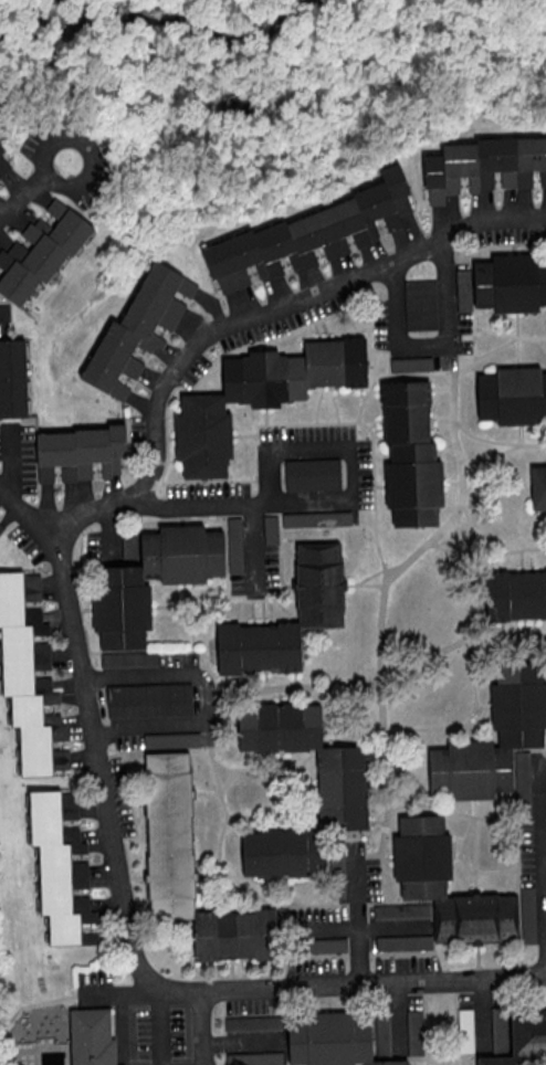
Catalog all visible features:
river: (165, 17)
building: (6, 161)
building: (484, 167)
road: (46, 175)
building: (312, 235)
building: (39, 252)
building: (510, 284)
road: (239, 319)
building: (139, 330)
road: (432, 347)
building: (13, 379)
building: (513, 396)
building: (261, 397)
building: (81, 454)
building: (411, 455)
building: (313, 475)
building: (538, 487)
road: (335, 500)
building: (0, 527)
road: (253, 545)
building: (321, 583)
building: (521, 594)
building: (122, 608)
building: (129, 661)
building: (31, 676)
road: (206, 695)
building: (149, 702)
building: (497, 744)
road: (544, 758)
building: (343, 791)
road: (105, 794)
road: (543, 815)
road: (545, 845)
building: (422, 862)
building: (62, 866)
building: (193, 872)
road: (360, 915)
road: (372, 985)
road: (124, 1015)
road: (158, 1025)
building: (93, 1038)
building: (523, 1040)
building: (333, 1041)

